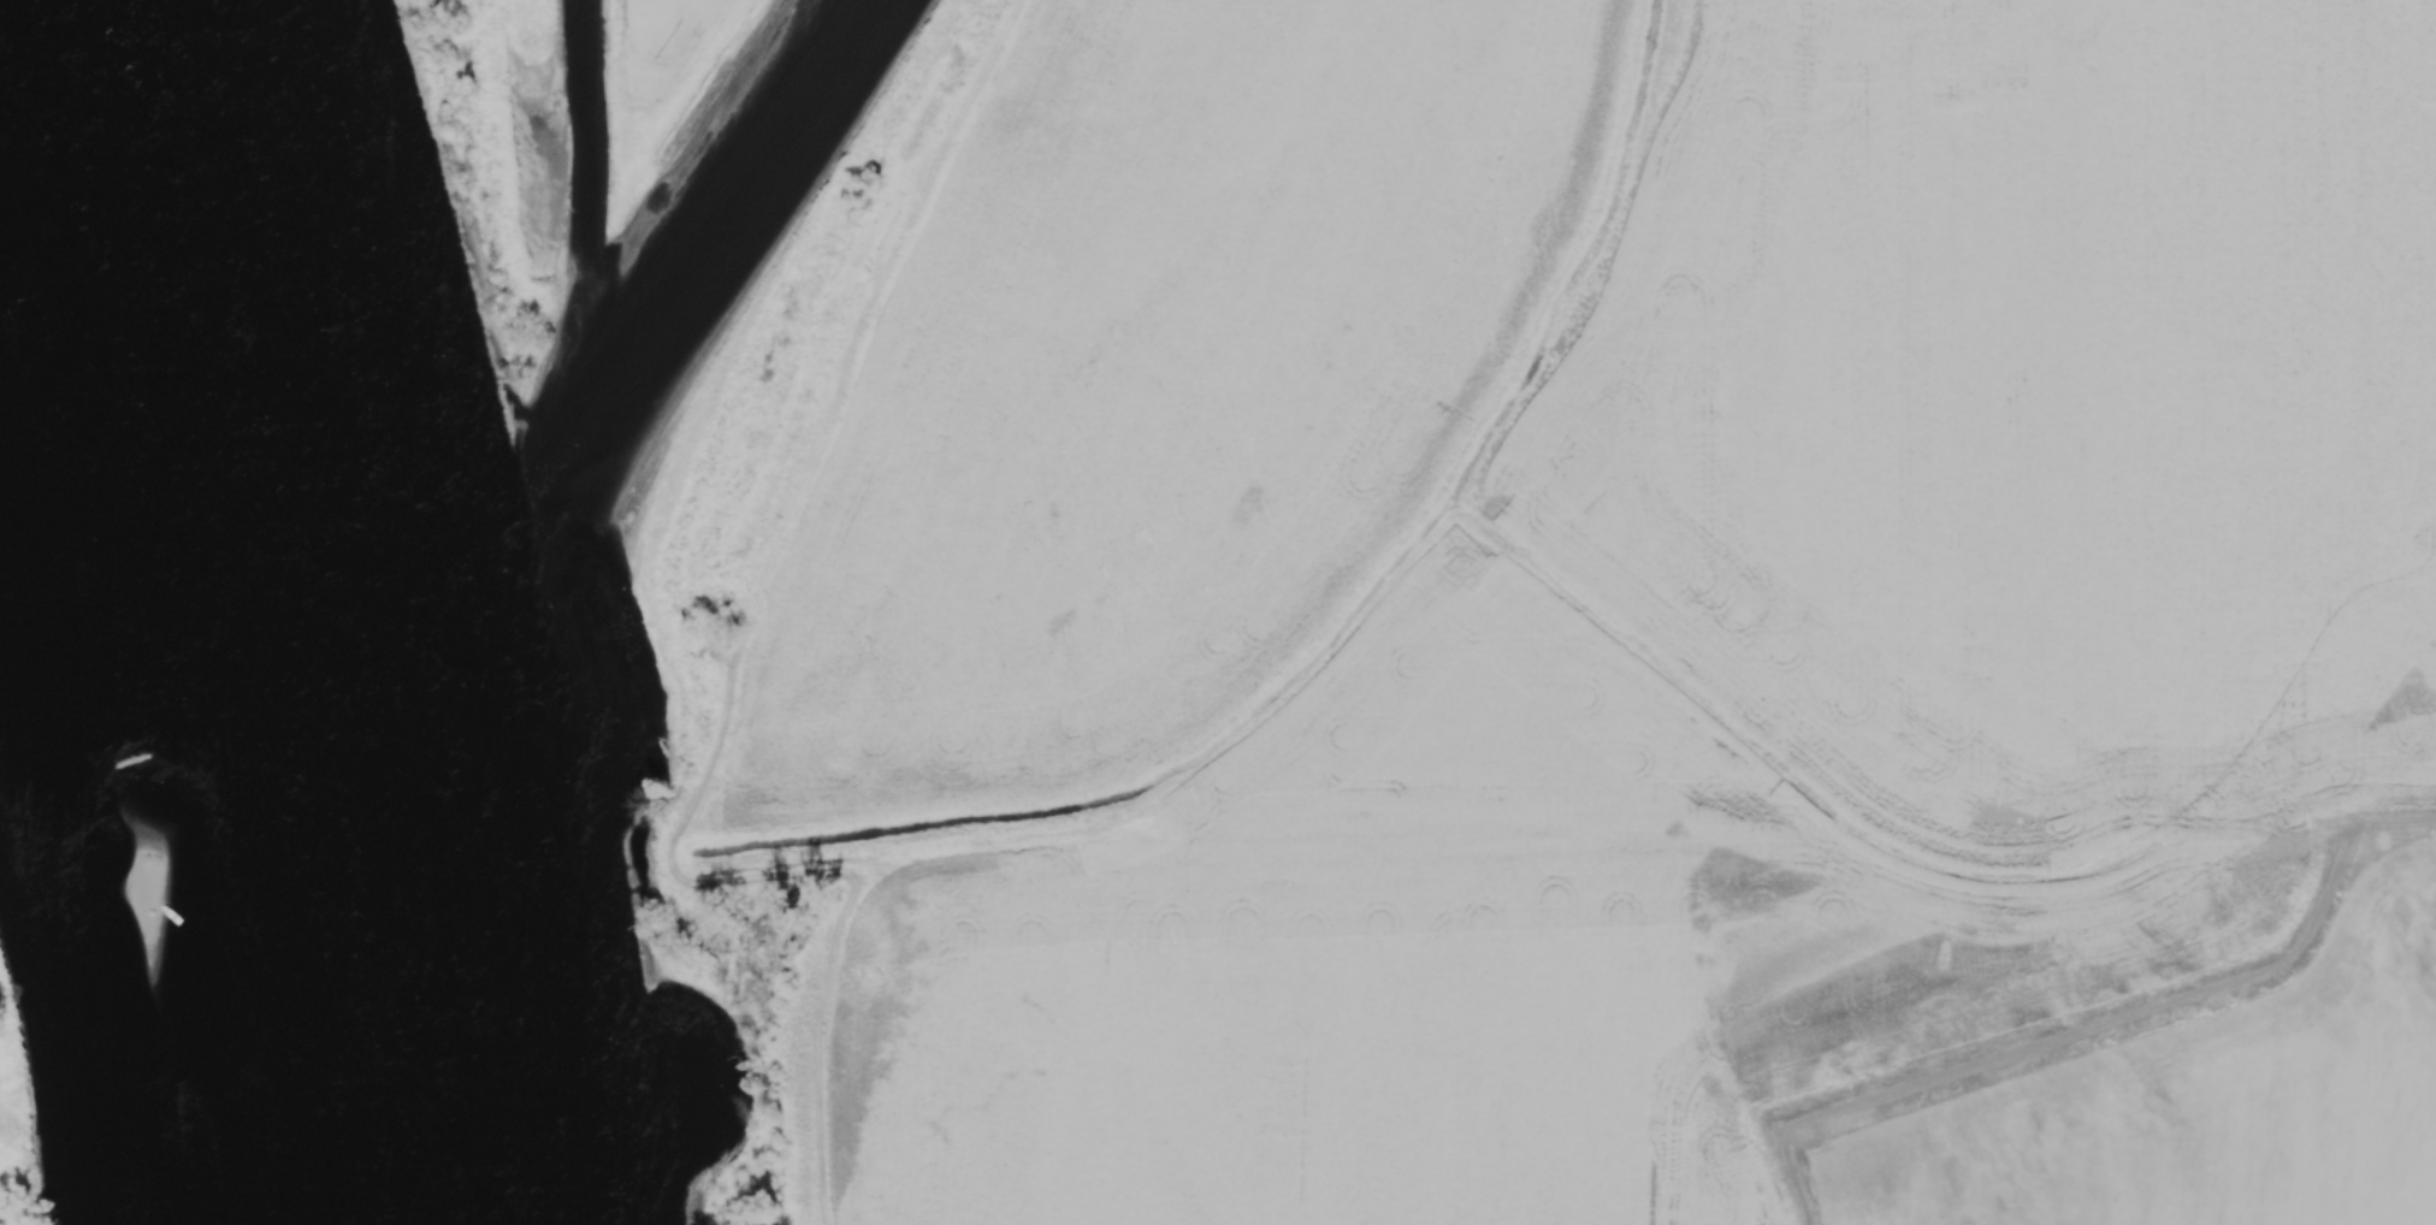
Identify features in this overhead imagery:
river: (597, 481)
river: (231, 612)
road: (2097, 1026)

